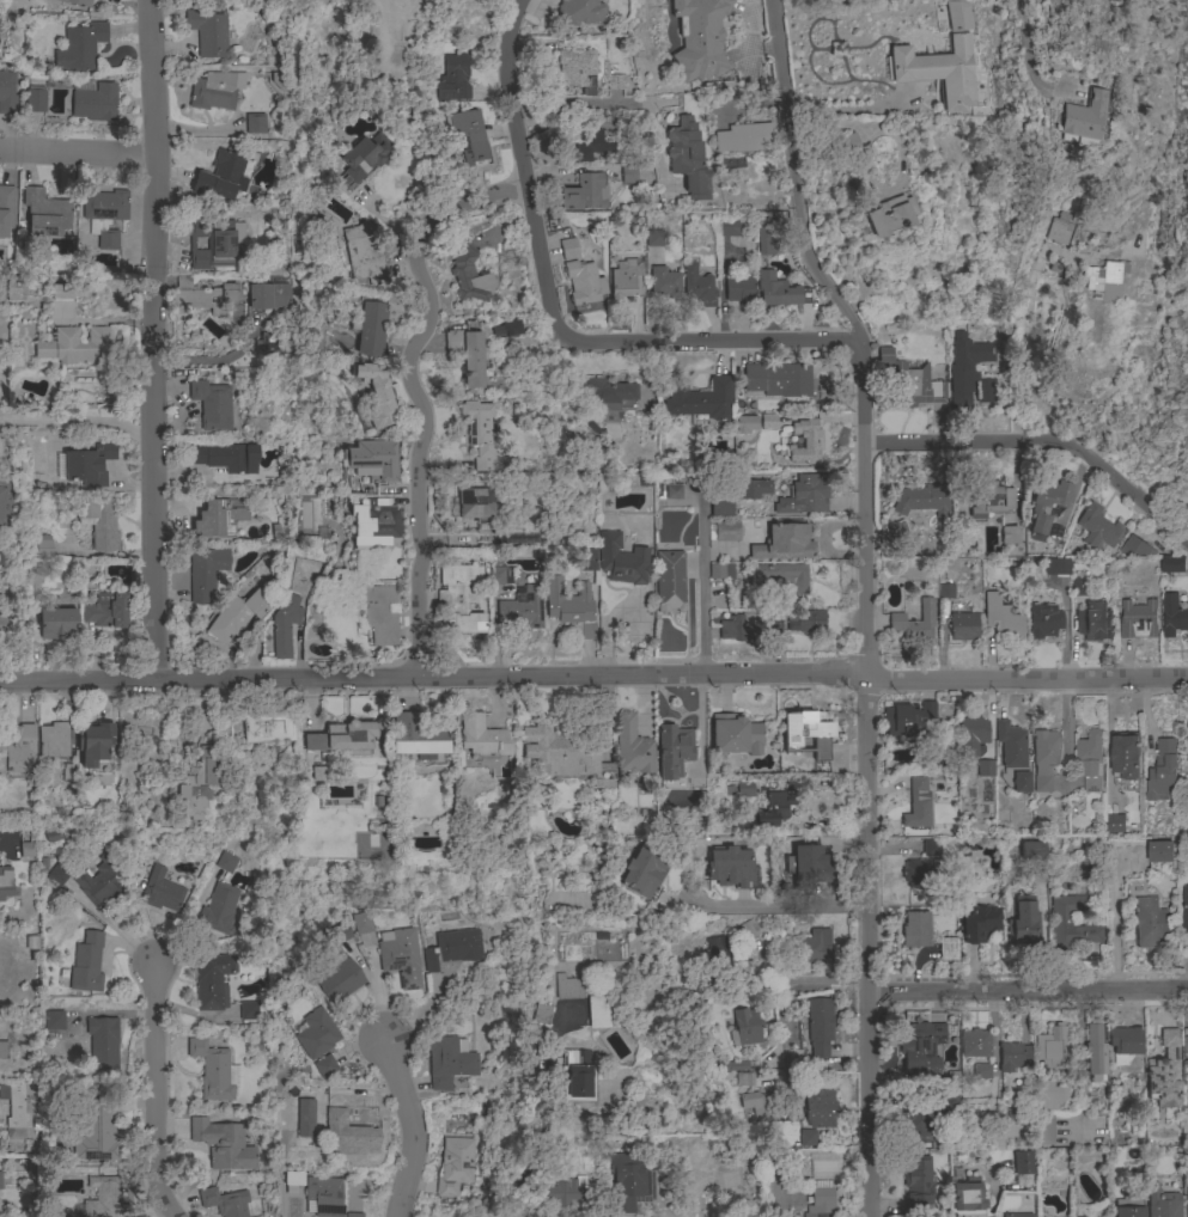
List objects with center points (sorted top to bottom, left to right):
building: (77, 2)
building: (579, 12)
building: (959, 16)
building: (208, 32)
building: (700, 38)
building: (80, 47)
road: (1024, 59)
building: (577, 69)
building: (939, 72)
building: (453, 79)
building: (281, 80)
building: (615, 82)
building: (215, 91)
building: (7, 93)
building: (35, 99)
road: (571, 102)
building: (95, 103)
road: (853, 112)
building: (1082, 117)
building: (255, 122)
building: (627, 128)
building: (467, 136)
building: (744, 139)
building: (591, 145)
building: (847, 145)
road: (77, 152)
building: (687, 158)
building: (361, 159)
building: (633, 175)
building: (221, 177)
building: (584, 192)
building: (5, 212)
building: (43, 214)
building: (104, 215)
building: (889, 215)
building: (729, 227)
building: (1058, 231)
building: (653, 238)
building: (219, 240)
building: (766, 240)
building: (568, 249)
building: (364, 253)
building: (469, 276)
building: (626, 280)
building: (1105, 280)
building: (583, 282)
building: (664, 283)
building: (699, 286)
building: (739, 291)
building: (778, 291)
building: (61, 292)
building: (268, 295)
building: (203, 298)
road: (549, 318)
road: (1021, 319)
building: (516, 324)
building: (371, 329)
building: (502, 330)
road: (154, 341)
building: (267, 342)
building: (315, 342)
building: (79, 345)
building: (467, 356)
building: (967, 359)
building: (776, 380)
building: (912, 380)
road: (415, 392)
building: (601, 392)
building: (376, 395)
building: (700, 399)
building: (212, 405)
road: (78, 420)
building: (768, 421)
building: (745, 424)
building: (479, 433)
building: (805, 441)
road: (1042, 441)
building: (226, 457)
building: (374, 460)
building: (87, 466)
building: (632, 481)
building: (755, 489)
building: (672, 491)
building: (1, 495)
building: (803, 496)
building: (988, 500)
building: (922, 501)
building: (1047, 504)
building: (475, 506)
building: (721, 507)
building: (300, 515)
building: (220, 519)
building: (98, 522)
building: (373, 524)
building: (1098, 528)
building: (896, 530)
building: (724, 531)
building: (1009, 536)
building: (784, 543)
building: (43, 548)
building: (1135, 548)
building: (587, 558)
building: (621, 559)
building: (1171, 564)
building: (1055, 567)
building: (720, 570)
building: (206, 571)
building: (33, 573)
building: (499, 575)
building: (780, 576)
building: (669, 581)
road: (705, 582)
building: (1078, 587)
building: (946, 591)
road: (863, 599)
building: (459, 600)
building: (567, 601)
building: (522, 608)
building: (106, 611)
building: (380, 614)
building: (1172, 614)
building: (237, 616)
building: (1000, 617)
building: (1044, 618)
building: (1138, 619)
building: (806, 620)
building: (915, 622)
building: (1093, 622)
building: (11, 624)
building: (57, 624)
building: (772, 624)
building: (284, 625)
building: (963, 626)
building: (742, 628)
road: (593, 678)
building: (907, 718)
building: (202, 723)
building: (267, 728)
building: (1187, 728)
road: (1066, 729)
building: (808, 733)
building: (416, 735)
building: (735, 735)
building: (481, 736)
building: (342, 738)
building: (971, 738)
building: (53, 740)
building: (93, 742)
building: (18, 750)
building: (630, 750)
building: (674, 751)
building: (566, 754)
building: (1187, 754)
building: (1012, 756)
building: (1125, 756)
building: (1044, 757)
building: (1090, 759)
building: (985, 767)
building: (1162, 770)
building: (318, 773)
building: (199, 781)
building: (937, 785)
building: (743, 789)
building: (916, 805)
building: (774, 808)
building: (1115, 822)
building: (54, 834)
road: (5, 845)
building: (930, 848)
building: (26, 850)
building: (1031, 851)
building: (1159, 855)
building: (226, 862)
building: (135, 866)
building: (805, 866)
building: (730, 867)
building: (644, 873)
building: (921, 873)
building: (57, 874)
building: (99, 881)
building: (5, 882)
building: (160, 893)
road: (775, 907)
building: (219, 909)
building: (1184, 910)
building: (1023, 922)
building: (1070, 923)
building: (1150, 923)
building: (979, 924)
building: (364, 929)
building: (915, 929)
building: (748, 930)
building: (340, 932)
building: (773, 935)
building: (815, 947)
building: (451, 949)
building: (946, 949)
building: (398, 952)
building: (717, 953)
building: (613, 954)
building: (85, 965)
building: (337, 979)
building: (212, 980)
building: (567, 987)
road: (982, 991)
building: (248, 1010)
building: (597, 1011)
building: (540, 1014)
building: (51, 1021)
building: (817, 1027)
building: (744, 1028)
building: (315, 1034)
building: (700, 1034)
building: (1125, 1040)
building: (102, 1042)
building: (975, 1044)
building: (1187, 1046)
building: (922, 1047)
building: (1050, 1047)
building: (4, 1048)
building: (1095, 1050)
building: (1012, 1057)
building: (447, 1062)
road: (1082, 1063)
building: (733, 1065)
building: (324, 1066)
building: (214, 1071)
building: (981, 1072)
building: (1164, 1072)
building: (577, 1077)
building: (744, 1078)
building: (1047, 1095)
road: (150, 1097)
road: (787, 1101)
building: (818, 1107)
building: (14, 1108)
building: (761, 1108)
building: (305, 1125)
building: (919, 1125)
road: (412, 1130)
building: (1044, 1130)
building: (96, 1131)
building: (348, 1136)
building: (806, 1138)
building: (223, 1145)
building: (1022, 1162)
building: (455, 1166)
building: (0, 1180)
building: (290, 1180)
building: (629, 1181)
building: (916, 1182)
building: (569, 1192)
building: (323, 1195)
building: (103, 1198)
building: (965, 1198)
building: (224, 1201)
building: (820, 1201)
building: (1162, 1203)
building: (1187, 1205)
building: (1127, 1207)
road: (508, 1210)
building: (53, 1215)
building: (352, 1215)
building: (1017, 1215)
building: (258, 1216)
building: (997, 1216)
building: (1078, 1216)

